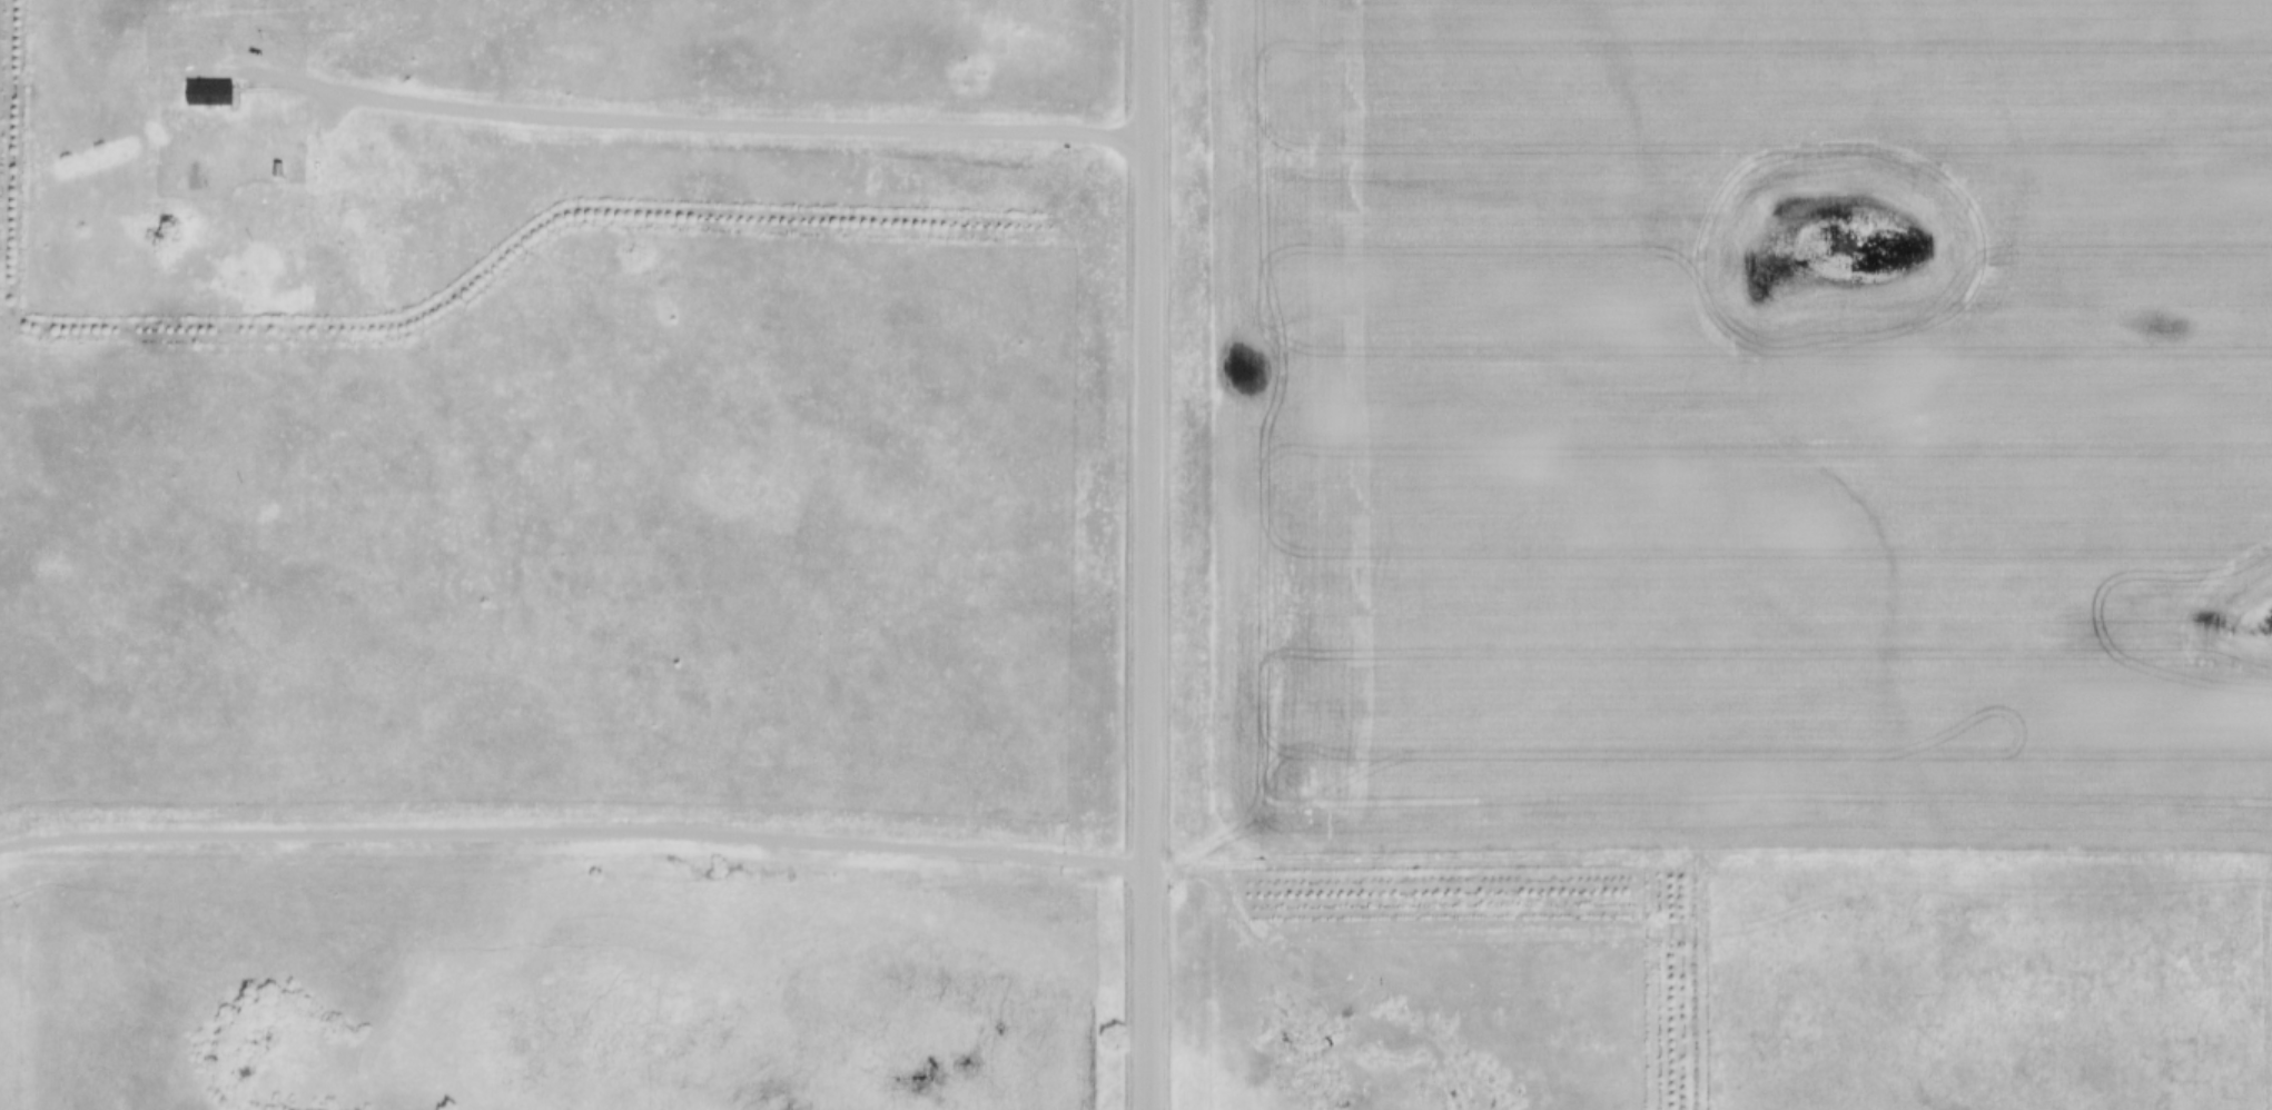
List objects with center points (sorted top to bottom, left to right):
building: (200, 80)
building: (204, 92)
road: (709, 120)
road: (1147, 555)
road: (574, 830)

